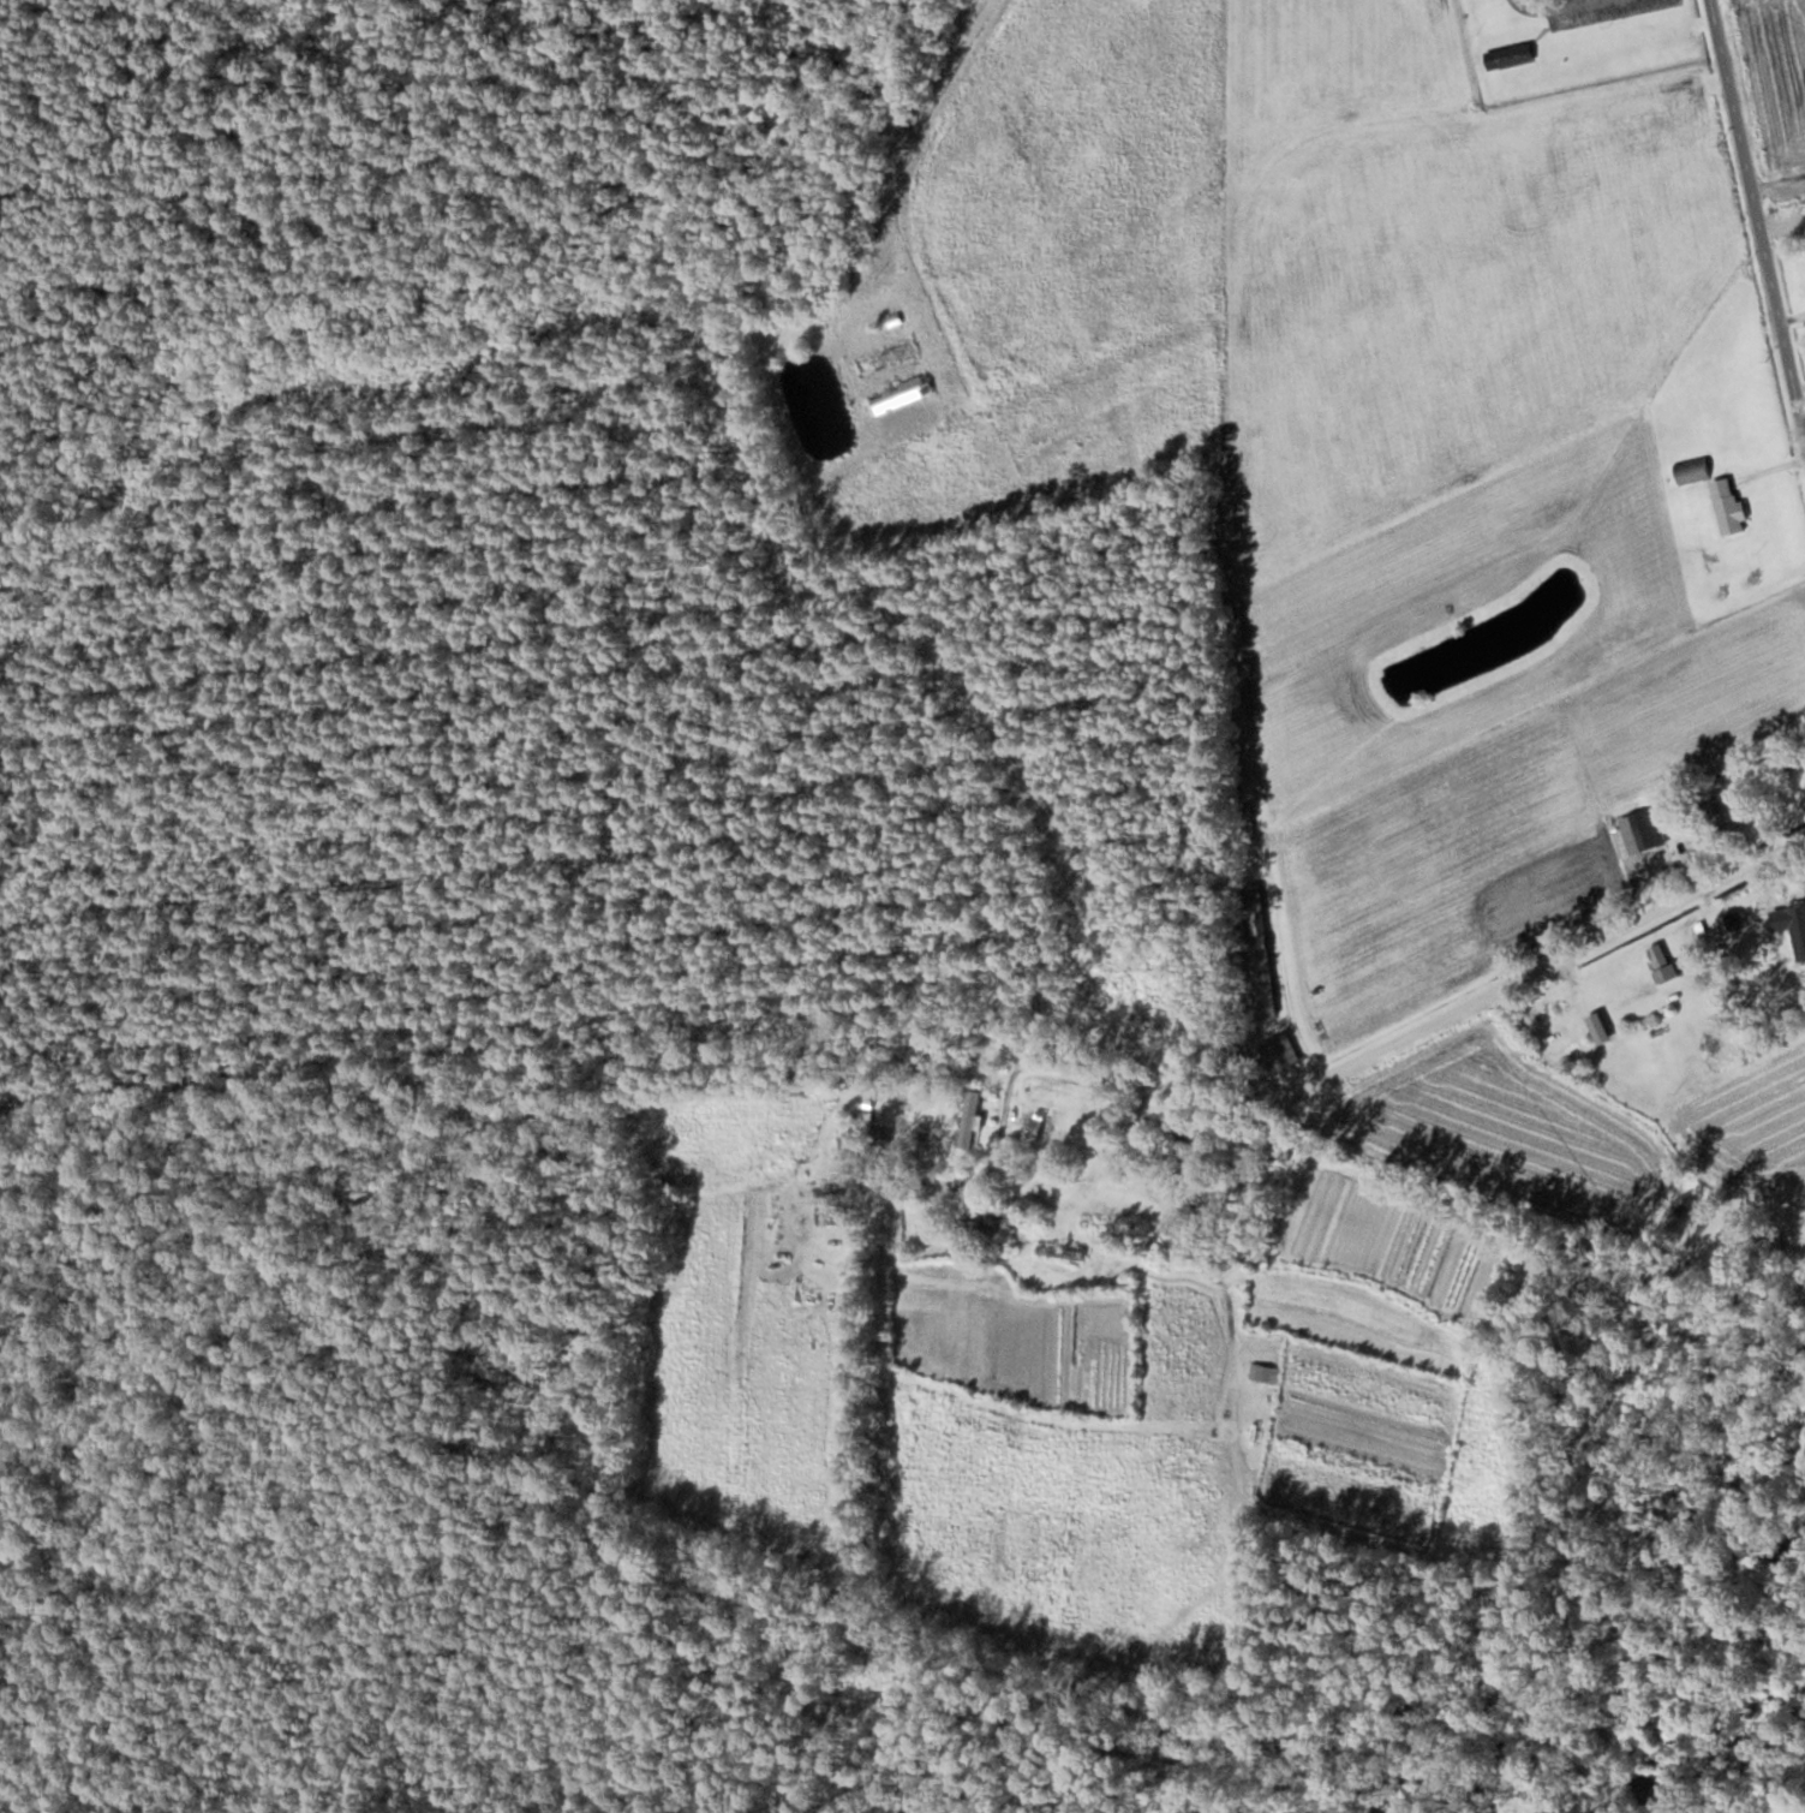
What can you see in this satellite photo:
building: (1512, 55)
road: (1764, 159)
building: (877, 362)
building: (901, 394)
building: (1691, 470)
building: (1727, 506)
building: (1637, 831)
building: (1734, 920)
building: (1792, 925)
building: (1660, 962)
building: (1259, 976)
road: (1444, 1003)
building: (1272, 1056)
building: (883, 1135)
building: (1171, 1147)
building: (1231, 1191)
building: (827, 1204)
building: (979, 1221)
building: (1262, 1372)

